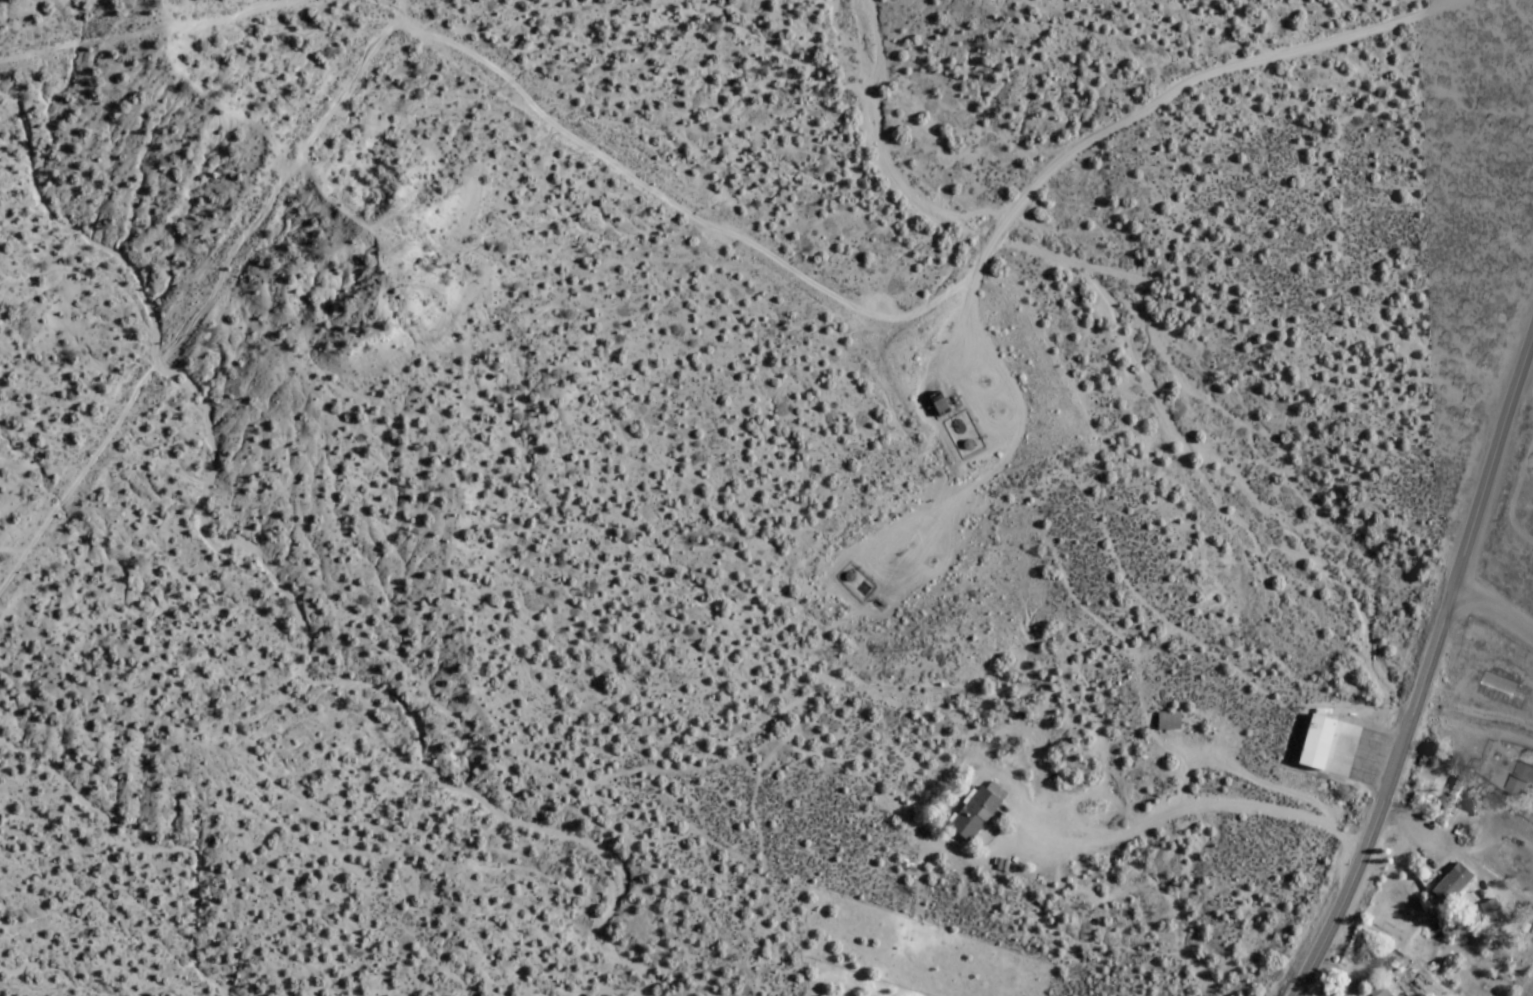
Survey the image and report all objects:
road: (146, 31)
road: (1186, 83)
road: (680, 208)
road: (210, 297)
road: (963, 379)
road: (963, 499)
road: (1493, 609)
road: (1425, 671)
building: (1505, 687)
building: (1168, 721)
building: (1317, 741)
building: (1522, 782)
building: (1448, 803)
building: (975, 814)
building: (1452, 883)
building: (1491, 910)
building: (1380, 991)

